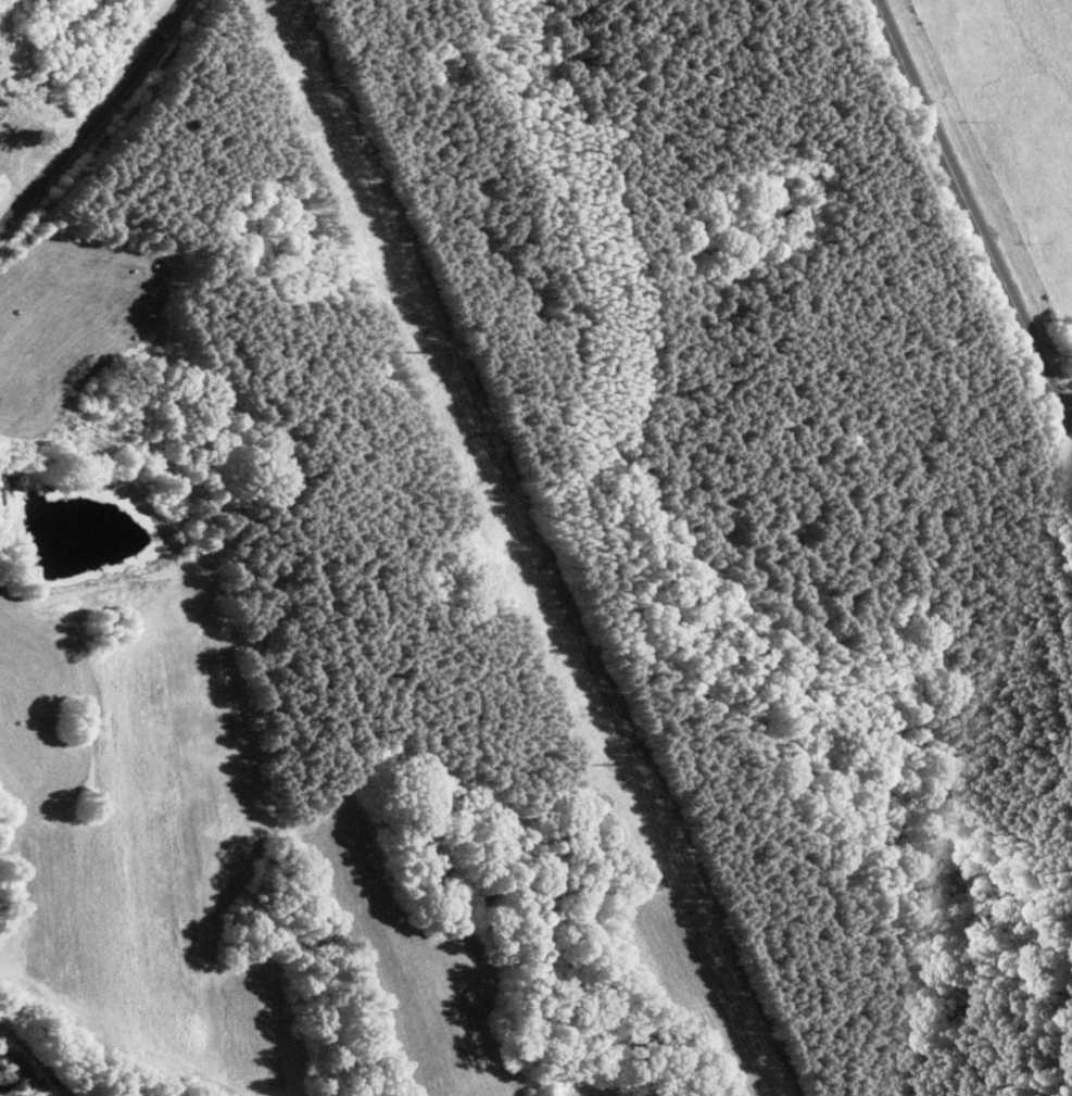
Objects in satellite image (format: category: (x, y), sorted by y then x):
road: (94, 118)
building: (8, 124)
road: (972, 219)

